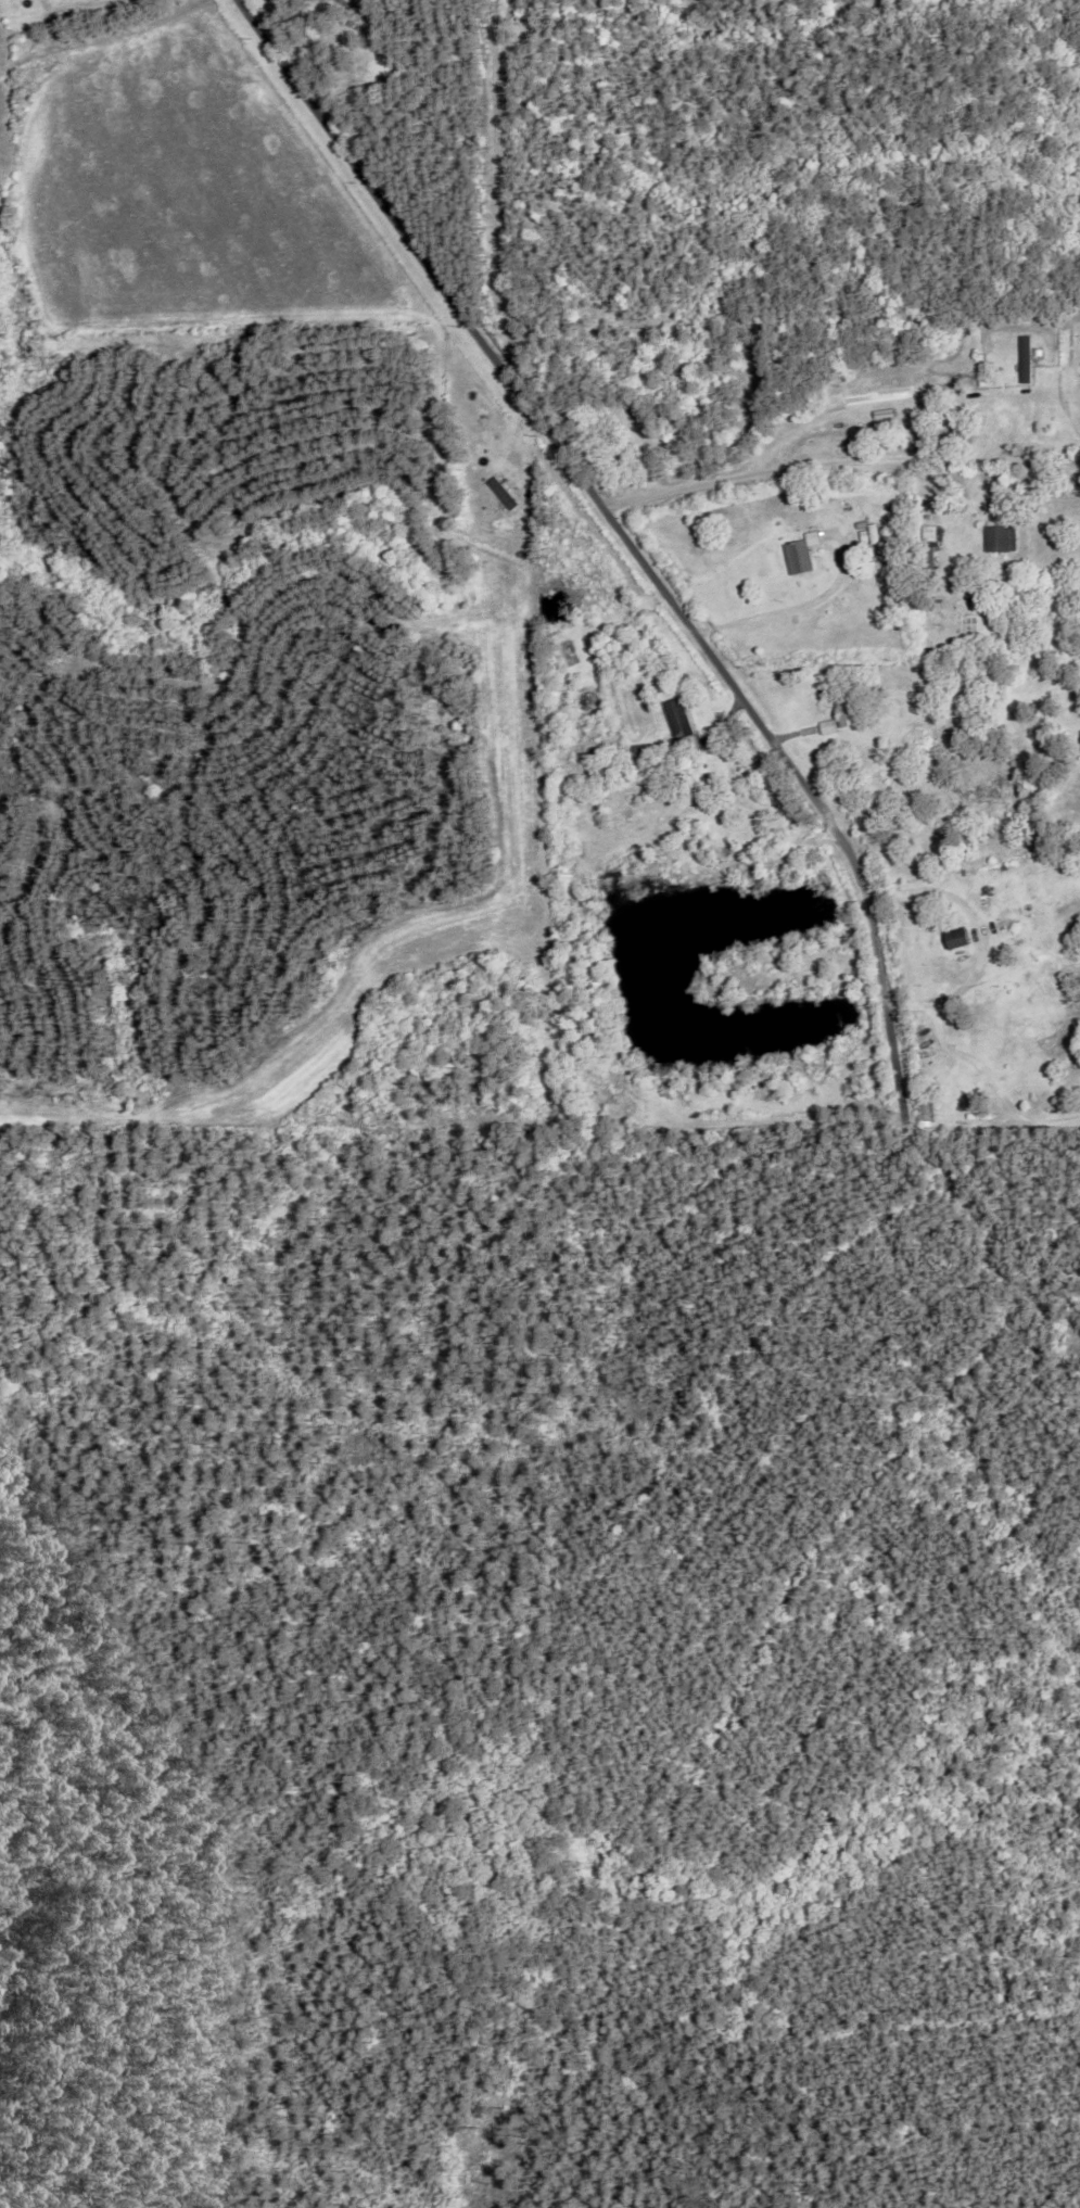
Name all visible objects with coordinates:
road: (503, 188)
building: (1025, 354)
building: (716, 373)
building: (982, 377)
building: (624, 430)
road: (869, 458)
building: (504, 494)
building: (871, 530)
building: (861, 533)
building: (998, 535)
road: (624, 537)
building: (799, 550)
building: (926, 554)
road: (799, 605)
building: (844, 709)
building: (679, 718)
building: (644, 751)
building: (876, 783)
building: (986, 863)
building: (993, 932)
building: (956, 936)
road: (990, 1077)
building: (606, 1092)

